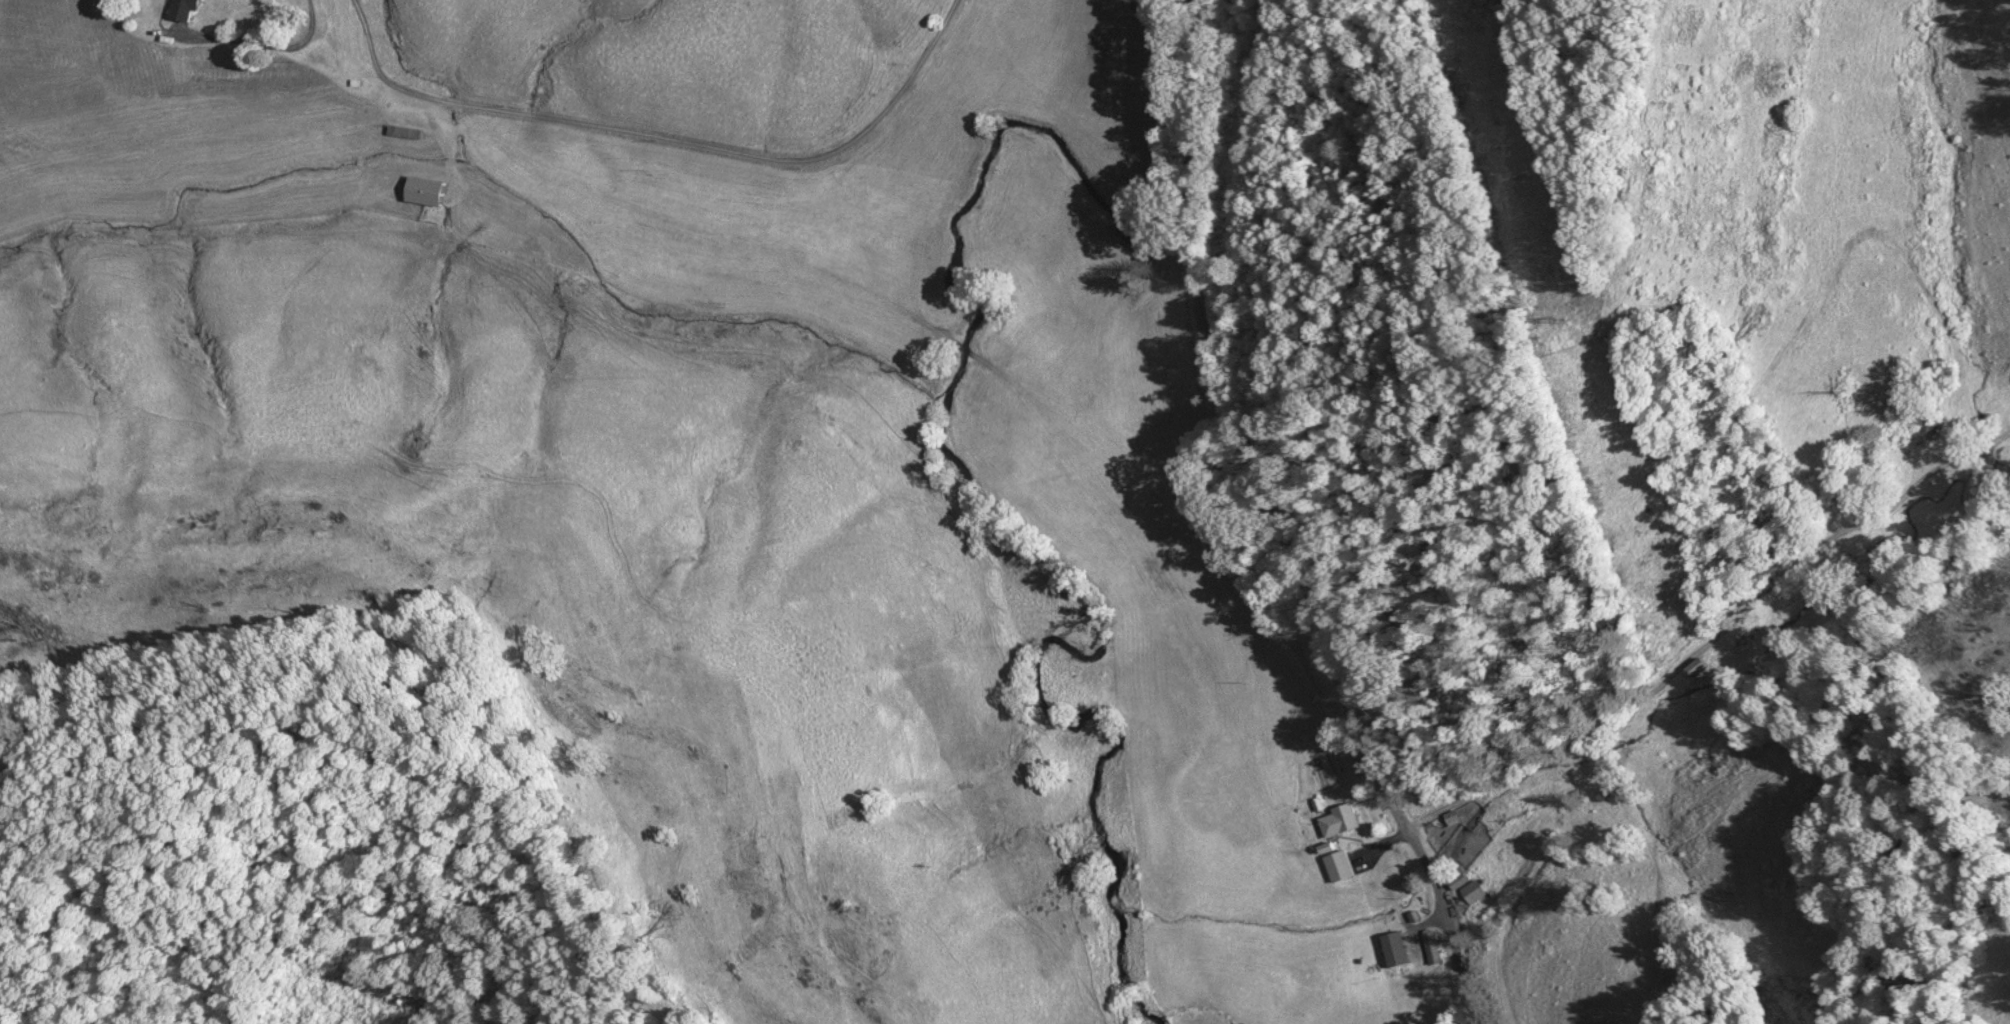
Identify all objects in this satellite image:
road: (263, 48)
building: (403, 130)
road: (666, 139)
building: (424, 189)
road: (1286, 521)
building: (1698, 666)
road: (1567, 731)
building: (1602, 794)
building: (1451, 816)
building: (1338, 819)
building: (1335, 863)
building: (1465, 886)
building: (1428, 945)
building: (1394, 948)

